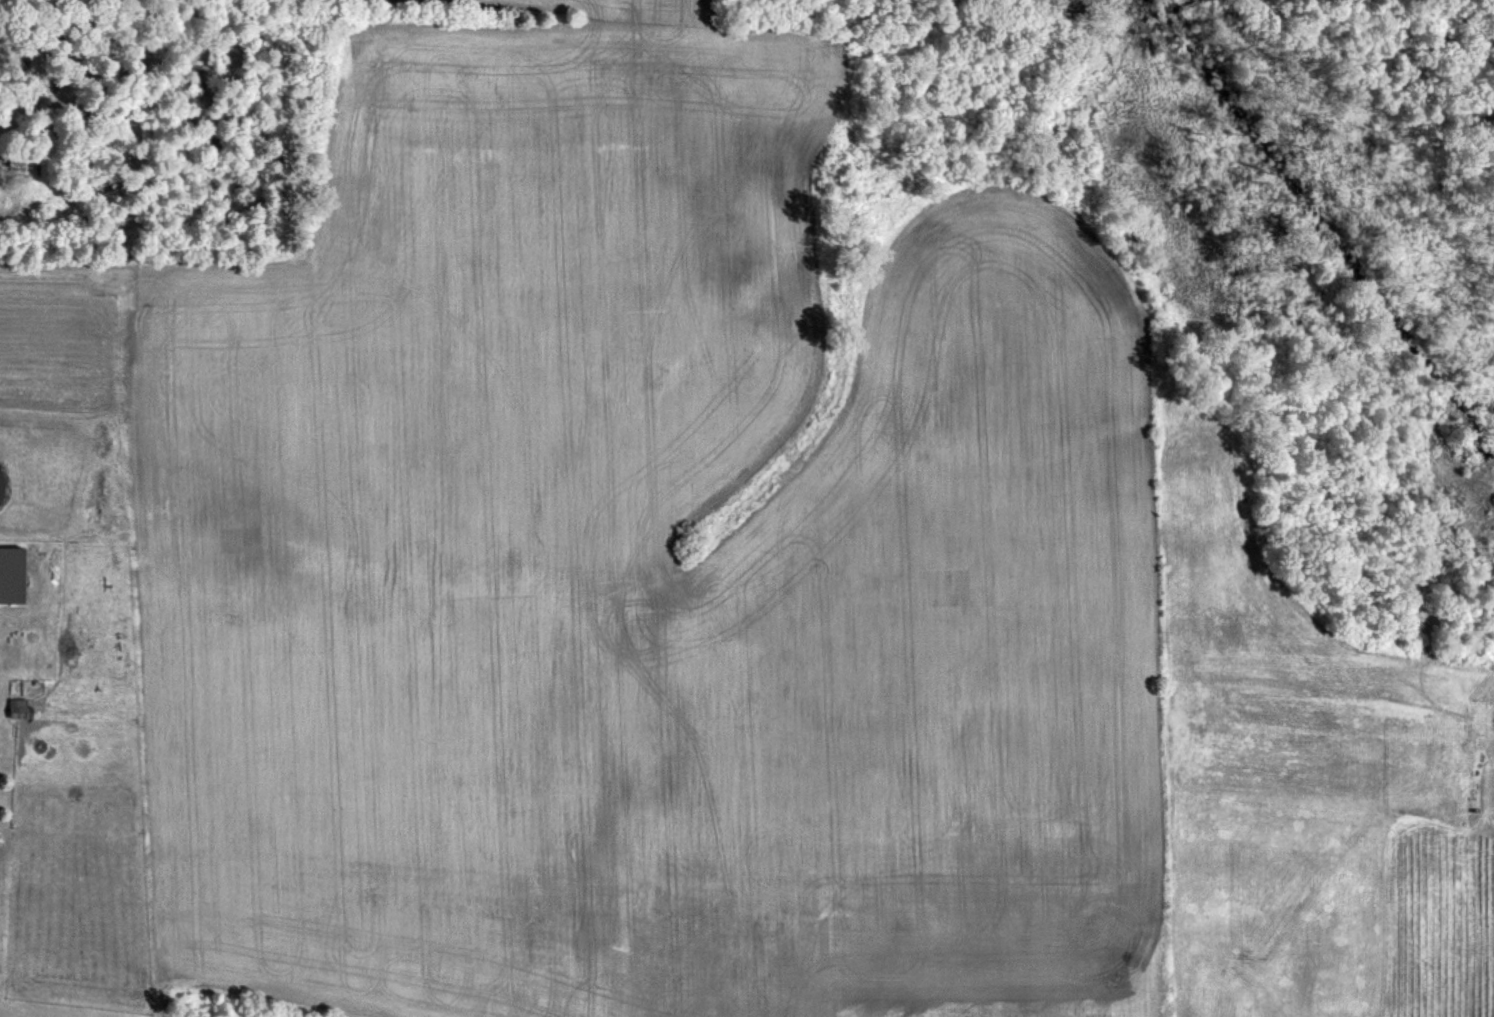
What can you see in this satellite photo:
building: (10, 574)
building: (18, 708)

